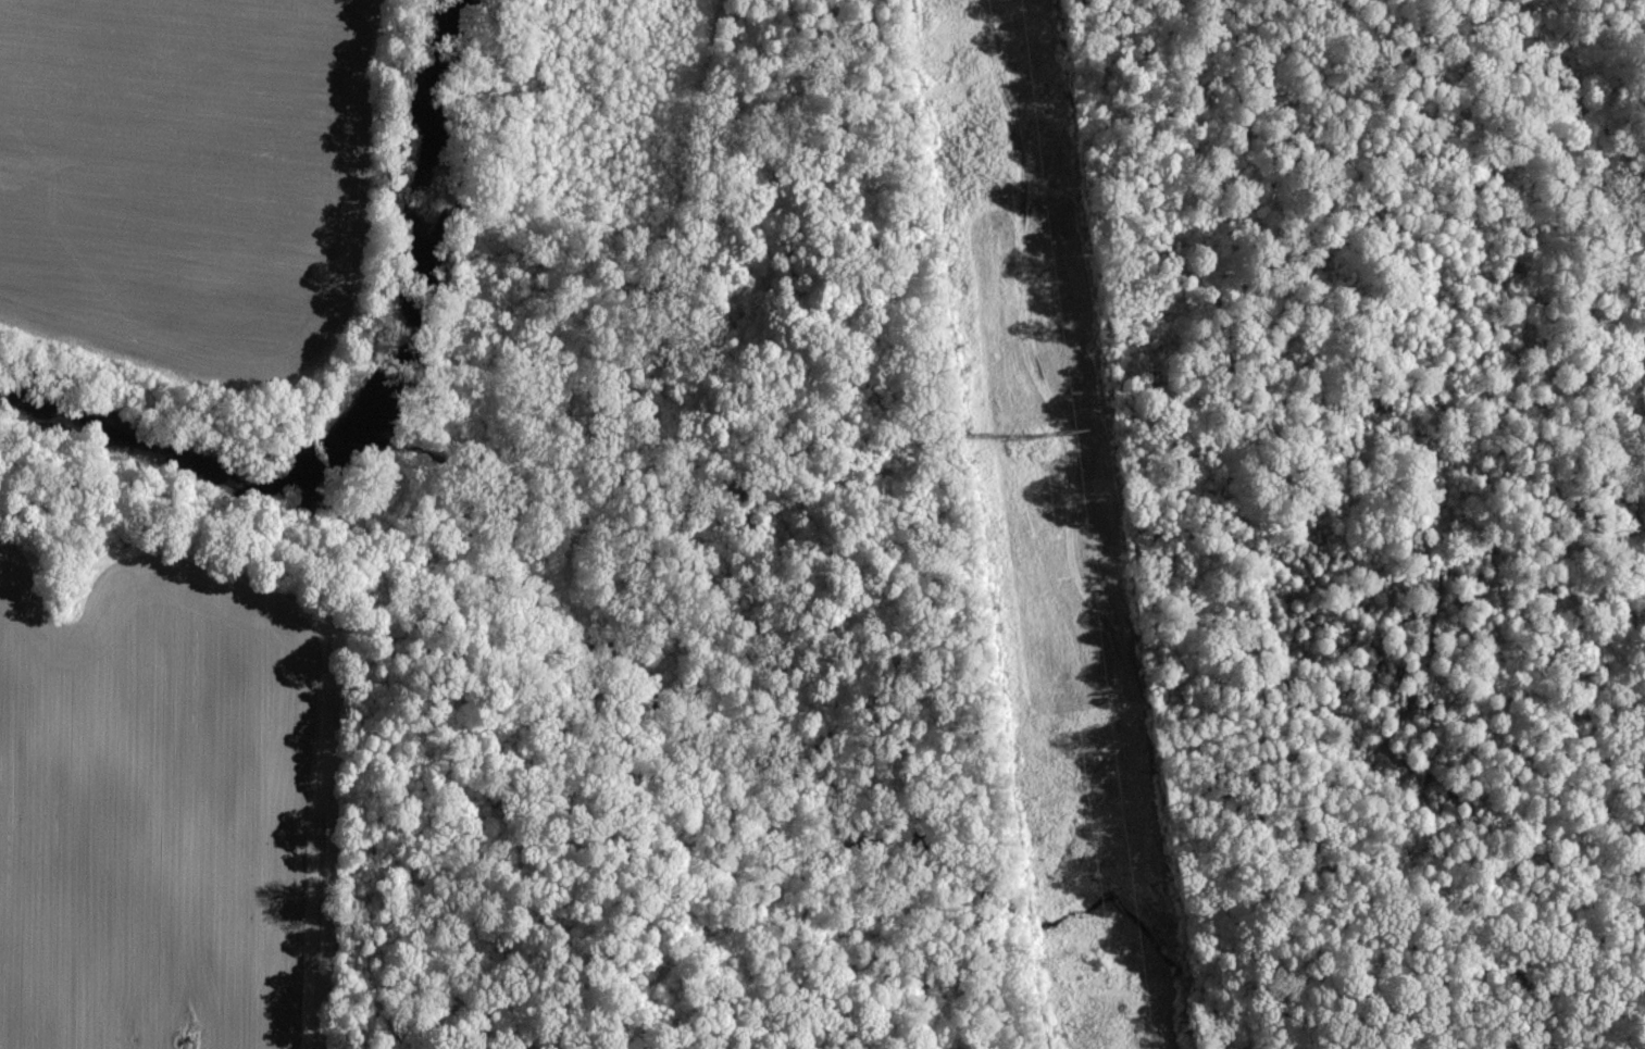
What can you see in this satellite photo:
power tower: (1042, 438)

